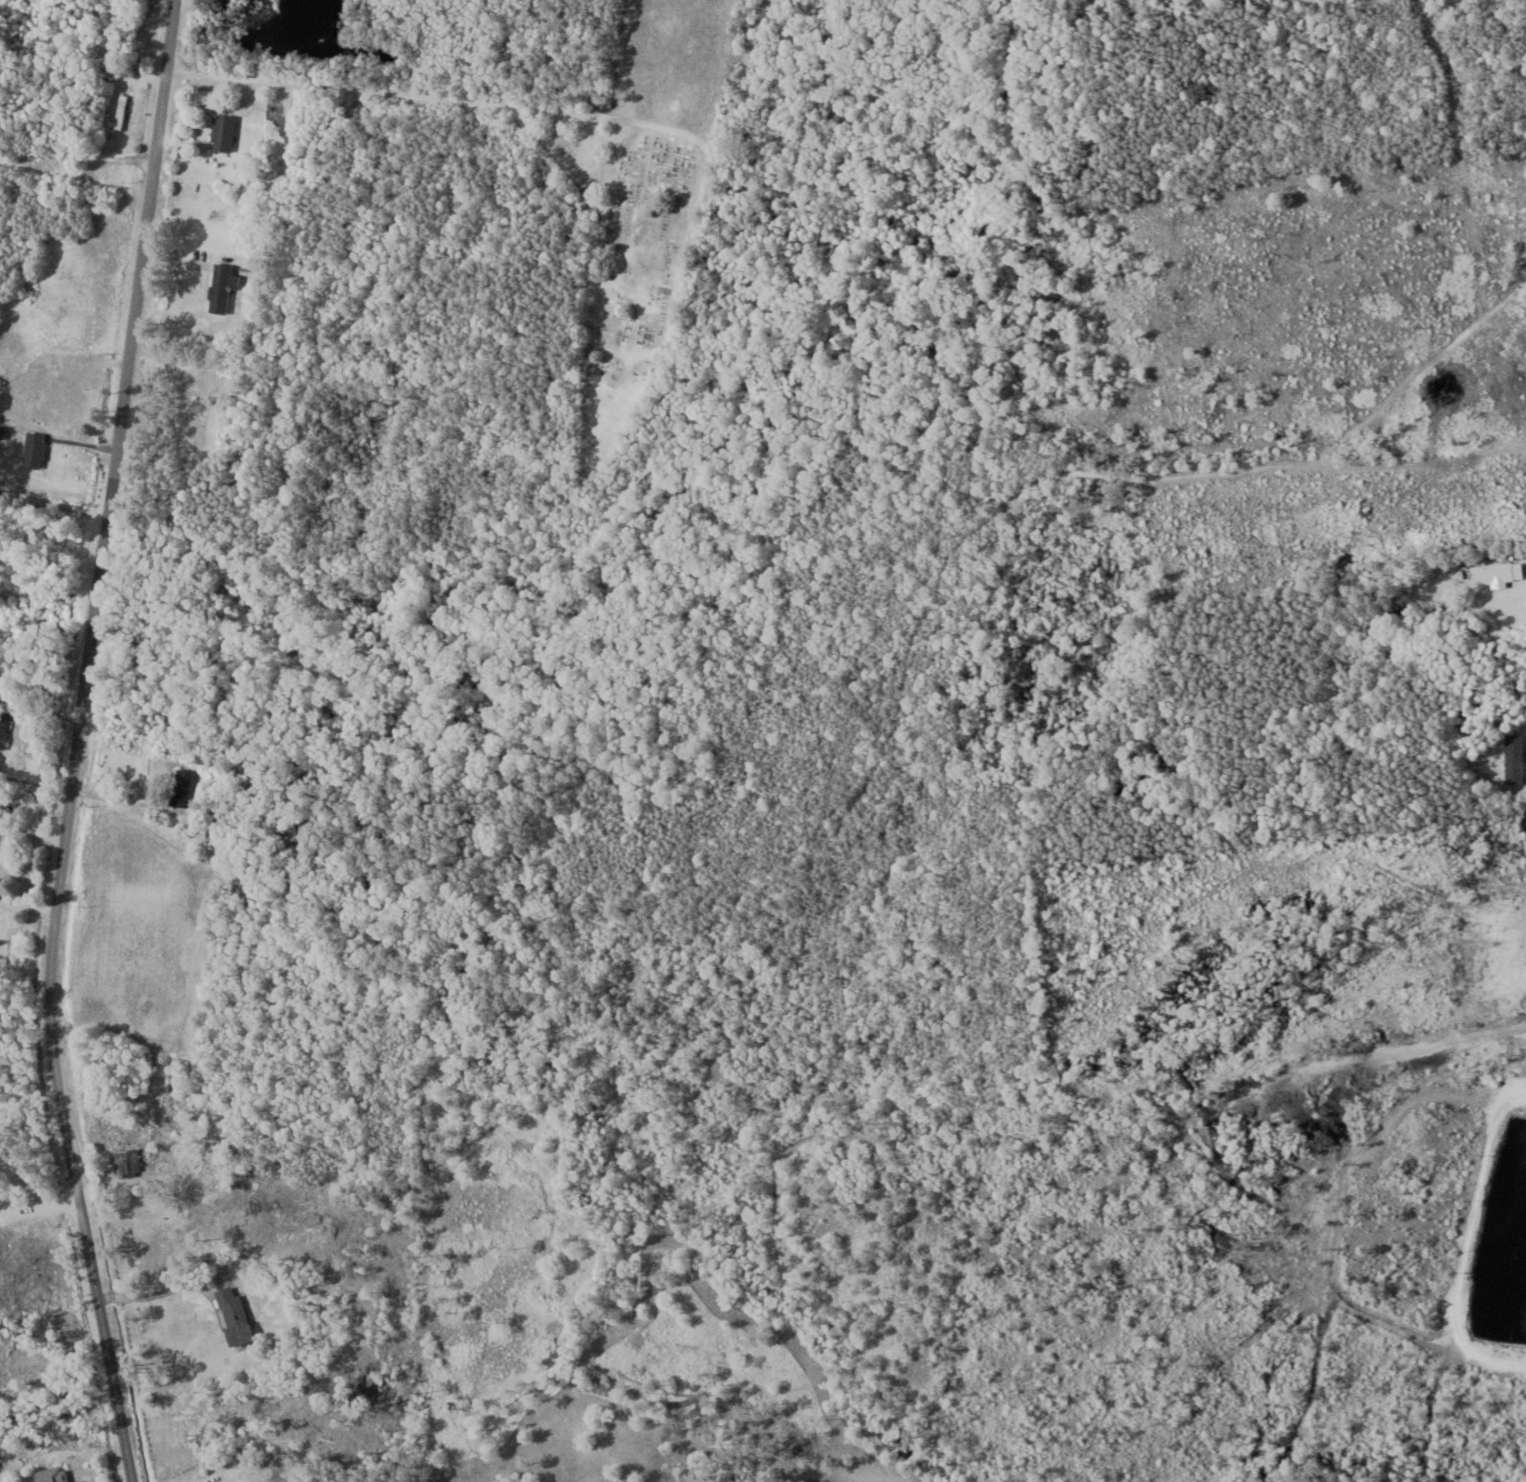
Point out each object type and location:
road: (329, 108)
building: (120, 111)
building: (222, 131)
road: (76, 154)
building: (219, 288)
building: (196, 432)
building: (33, 449)
building: (1502, 572)
building: (3, 729)
road: (80, 742)
building: (178, 793)
road: (123, 800)
road: (29, 905)
building: (128, 1162)
road: (43, 1232)
road: (333, 1312)
building: (233, 1316)
building: (48, 1475)
building: (234, 1479)

